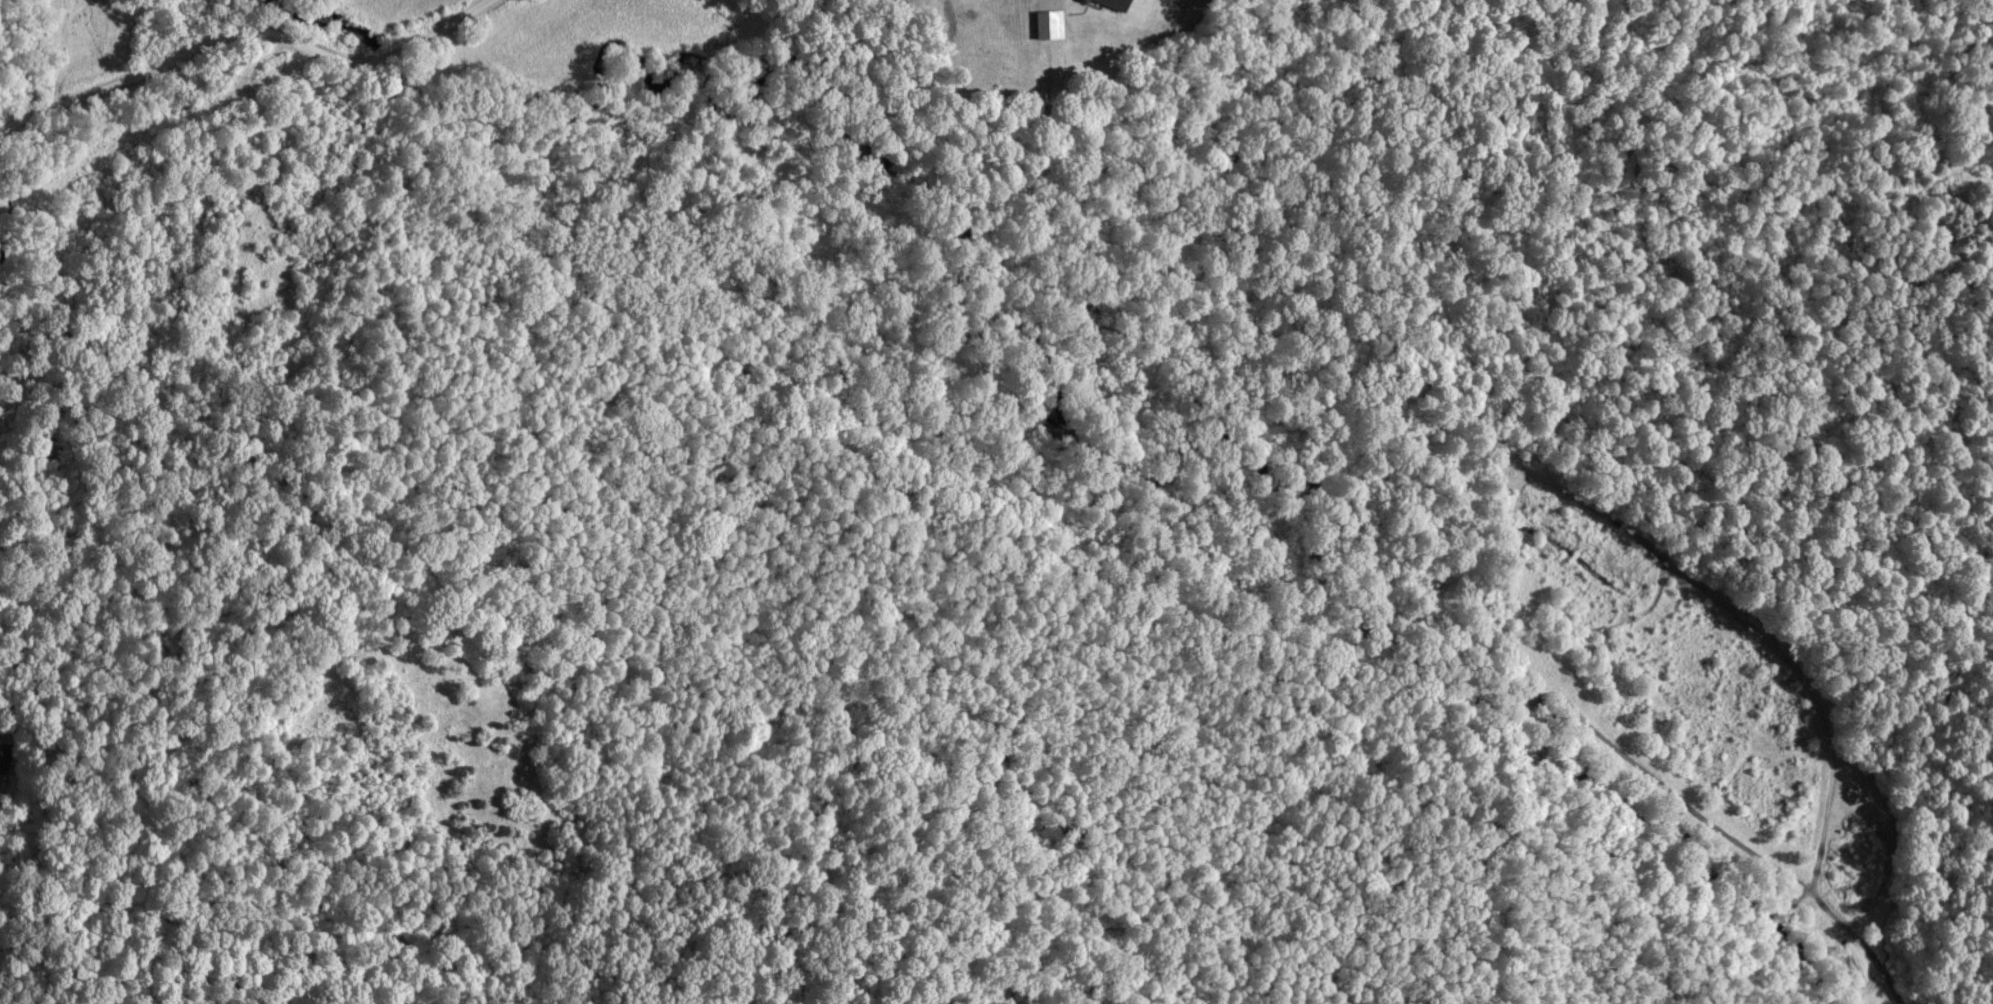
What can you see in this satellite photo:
building: (903, 0)
building: (1110, 4)
road: (240, 33)
building: (3, 756)

